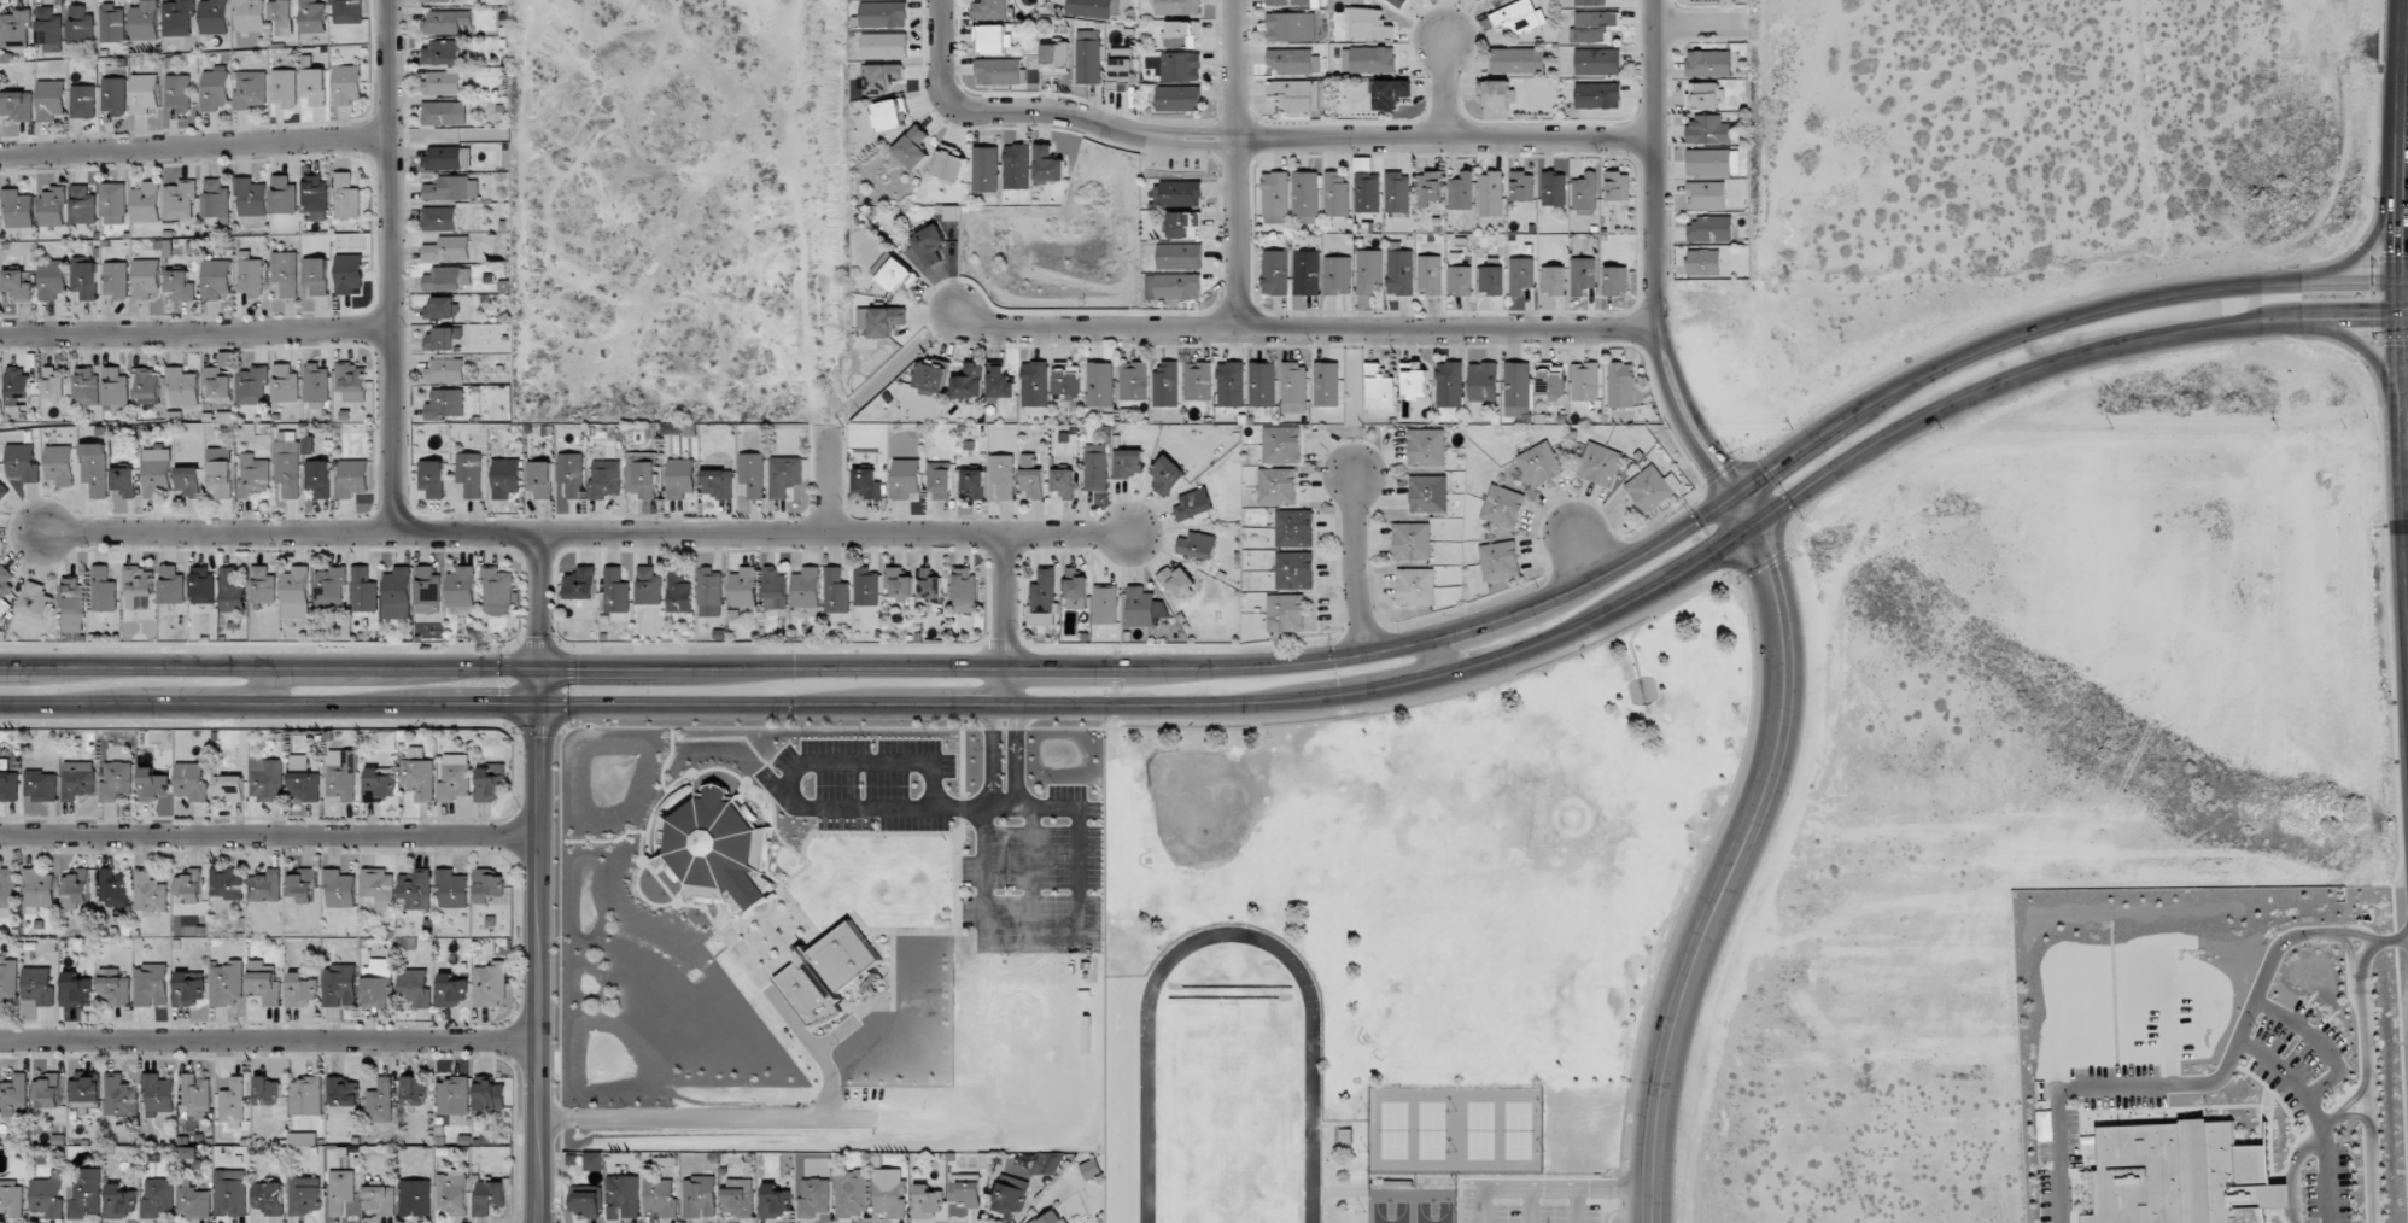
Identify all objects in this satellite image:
building: (1480, 0)
building: (437, 1)
building: (1291, 2)
building: (1398, 2)
building: (1590, 2)
building: (1177, 6)
building: (1092, 8)
building: (992, 10)
building: (346, 11)
building: (249, 14)
building: (883, 14)
building: (177, 17)
building: (214, 17)
building: (281, 17)
building: (312, 17)
building: (1519, 17)
building: (144, 21)
building: (445, 22)
building: (111, 23)
building: (1367, 23)
building: (81, 25)
building: (1591, 25)
building: (1291, 27)
building: (48, 28)
building: (14, 29)
road: (1701, 30)
building: (1181, 34)
building: (994, 41)
building: (886, 45)
building: (442, 52)
building: (1054, 58)
building: (1368, 59)
building: (1516, 60)
building: (1088, 62)
building: (1293, 62)
building: (1596, 62)
building: (1708, 63)
building: (1180, 66)
building: (999, 71)
building: (1120, 74)
building: (883, 77)
building: (442, 82)
building: (314, 83)
building: (346, 84)
building: (215, 88)
building: (250, 88)
building: (284, 88)
building: (144, 93)
building: (179, 93)
building: (1390, 93)
road: (1448, 93)
building: (1296, 94)
building: (1496, 94)
building: (113, 95)
building: (1597, 95)
building: (1702, 95)
building: (1179, 98)
building: (51, 99)
building: (83, 101)
building: (17, 105)
building: (444, 113)
building: (889, 115)
building: (1707, 130)
road: (205, 144)
road: (1243, 144)
building: (913, 147)
road: (2406, 153)
building: (1712, 162)
building: (1048, 164)
building: (949, 166)
building: (1017, 166)
road: (1240, 166)
building: (986, 169)
building: (1521, 186)
building: (1617, 186)
building: (451, 188)
building: (1554, 188)
building: (1428, 189)
building: (1367, 192)
building: (1396, 192)
building: (1461, 192)
building: (1584, 192)
building: (315, 193)
building: (1177, 193)
building: (1305, 193)
building: (1490, 193)
building: (282, 194)
building: (1335, 194)
building: (1706, 194)
building: (346, 197)
building: (1274, 197)
building: (250, 198)
road: (2402, 198)
building: (216, 199)
building: (179, 200)
building: (113, 203)
building: (146, 203)
building: (82, 205)
building: (52, 206)
building: (18, 209)
road: (829, 212)
building: (439, 218)
building: (1182, 223)
building: (1711, 229)
building: (929, 245)
building: (448, 248)
traffic signals: (2401, 248)
road: (2360, 250)
building: (1180, 256)
road: (1656, 259)
building: (1703, 262)
road: (410, 264)
building: (1368, 271)
building: (286, 273)
building: (1274, 273)
building: (1305, 273)
building: (349, 274)
building: (250, 275)
building: (315, 275)
building: (896, 275)
building: (1337, 275)
building: (1428, 275)
building: (1520, 275)
building: (1582, 275)
building: (84, 277)
building: (52, 279)
building: (146, 279)
building: (216, 279)
building: (445, 279)
building: (115, 280)
building: (1459, 280)
building: (1491, 280)
building: (1553, 280)
building: (1615, 281)
building: (17, 286)
building: (180, 286)
building: (1173, 286)
building: (440, 308)
building: (882, 321)
road: (2355, 324)
traffic signals: (2360, 324)
road: (205, 328)
road: (1304, 333)
building: (443, 339)
road: (2362, 345)
building: (445, 370)
building: (931, 379)
building: (1414, 380)
building: (969, 381)
building: (1066, 381)
building: (1132, 381)
building: (1197, 381)
building: (1483, 381)
building: (1550, 381)
building: (1584, 381)
building: (54, 384)
building: (285, 384)
building: (316, 384)
building: (1001, 384)
building: (1034, 384)
building: (1099, 384)
building: (1229, 384)
building: (1261, 384)
building: (1326, 384)
building: (1449, 384)
building: (1516, 384)
building: (148, 385)
building: (1165, 385)
building: (1620, 385)
building: (17, 386)
building: (87, 386)
building: (182, 386)
building: (216, 386)
building: (252, 386)
building: (1293, 387)
building: (1379, 387)
building: (116, 390)
building: (445, 403)
road: (2406, 421)
building: (1280, 444)
building: (308, 445)
building: (1426, 447)
building: (23, 462)
road: (2404, 462)
building: (1127, 463)
building: (1539, 464)
building: (1598, 464)
building: (62, 466)
traffic signals: (1709, 466)
building: (287, 468)
building: (1095, 468)
building: (95, 469)
traffic signals: (1778, 470)
building: (157, 472)
building: (469, 474)
building: (572, 474)
building: (641, 474)
building: (753, 474)
building: (784, 475)
building: (1003, 475)
building: (1165, 475)
building: (253, 476)
building: (1031, 476)
building: (220, 478)
building: (318, 478)
building: (432, 478)
building: (505, 478)
building: (606, 478)
building: (680, 478)
building: (351, 479)
building: (539, 479)
road: (831, 479)
building: (941, 479)
building: (124, 481)
building: (189, 481)
building: (718, 482)
building: (867, 482)
building: (974, 482)
building: (1063, 482)
building: (1276, 486)
building: (1652, 487)
building: (2, 490)
building: (1427, 493)
building: (1193, 504)
building: (1503, 507)
building: (1293, 528)
road: (585, 529)
building: (1410, 542)
building: (1197, 545)
road: (1589, 557)
traffic signals: (1709, 560)
building: (1500, 561)
road: (1354, 566)
building: (1294, 570)
traffic signals: (1772, 574)
building: (1176, 580)
building: (138, 581)
building: (580, 583)
building: (900, 583)
building: (171, 585)
building: (201, 585)
building: (263, 585)
building: (930, 585)
building: (329, 586)
building: (461, 586)
building: (497, 586)
building: (648, 586)
building: (866, 586)
building: (1415, 586)
building: (743, 587)
building: (806, 587)
building: (1075, 587)
building: (5, 589)
building: (775, 589)
building: (103, 590)
building: (233, 590)
building: (363, 590)
building: (427, 590)
building: (964, 590)
building: (615, 591)
building: (678, 591)
building: (709, 591)
building: (835, 591)
building: (296, 592)
building: (397, 593)
road: (542, 598)
building: (1044, 598)
building: (35, 601)
building: (72, 604)
building: (1105, 604)
building: (1140, 607)
building: (1285, 613)
road: (1512, 616)
road: (1007, 622)
road: (1436, 657)
road: (270, 666)
traffic signals: (542, 668)
road: (273, 685)
traffic signals: (543, 708)
road: (1193, 709)
building: (388, 741)
building: (343, 774)
building: (417, 774)
building: (455, 777)
building: (265, 779)
building: (303, 779)
building: (78, 780)
building: (117, 780)
building: (189, 780)
building: (491, 782)
building: (153, 784)
building: (380, 784)
building: (8, 785)
building: (41, 785)
building: (228, 786)
road: (269, 835)
park: (1473, 837)
building: (718, 848)
road: (1737, 859)
building: (762, 879)
building: (226, 883)
building: (191, 884)
building: (303, 885)
building: (264, 886)
building: (379, 886)
building: (113, 888)
building: (339, 888)
building: (75, 889)
building: (452, 889)
building: (6, 890)
building: (39, 890)
building: (414, 890)
building: (150, 891)
road: (2387, 940)
road: (538, 944)
road: (2346, 946)
building: (826, 972)
building: (8, 983)
building: (227, 983)
building: (263, 983)
building: (376, 983)
building: (490, 984)
building: (37, 985)
building: (151, 985)
building: (339, 985)
building: (113, 988)
building: (188, 988)
building: (414, 988)
building: (75, 989)
building: (300, 989)
building: (450, 990)
road: (268, 1040)
road: (817, 1048)
road: (2254, 1053)
road: (2366, 1087)
building: (267, 1090)
building: (414, 1090)
building: (48, 1092)
building: (84, 1092)
building: (195, 1093)
building: (158, 1094)
building: (490, 1094)
building: (341, 1095)
building: (14, 1096)
building: (119, 1096)
building: (305, 1096)
building: (452, 1096)
building: (232, 1101)
building: (380, 1101)
road: (2345, 1107)
road: (701, 1118)
road: (2333, 1122)
building: (300, 1139)
building: (595, 1160)
building: (1047, 1163)
building: (1091, 1169)
building: (2179, 1174)
building: (965, 1189)
building: (341, 1190)
building: (83, 1192)
building: (454, 1192)
building: (230, 1193)
building: (889, 1193)
building: (851, 1194)
building: (46, 1195)
building: (305, 1195)
building: (490, 1195)
building: (1009, 1195)
building: (158, 1196)
building: (623, 1196)
building: (660, 1196)
building: (700, 1196)
building: (814, 1196)
building: (12, 1198)
building: (269, 1198)
building: (415, 1198)
building: (738, 1198)
building: (379, 1199)
building: (585, 1200)
building: (119, 1201)
building: (925, 1201)
building: (194, 1202)
building: (773, 1202)
building: (1051, 1217)

